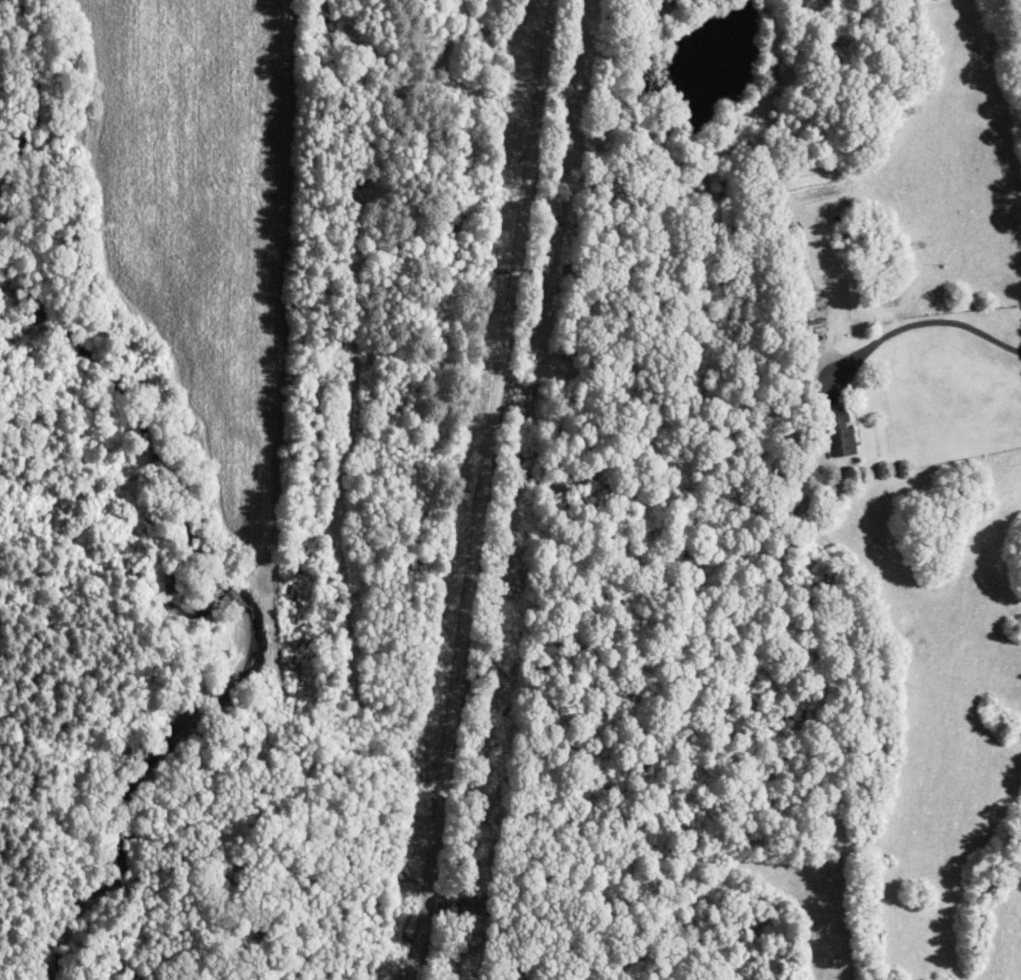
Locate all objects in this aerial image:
building: (546, 399)
building: (840, 430)
road: (483, 491)

